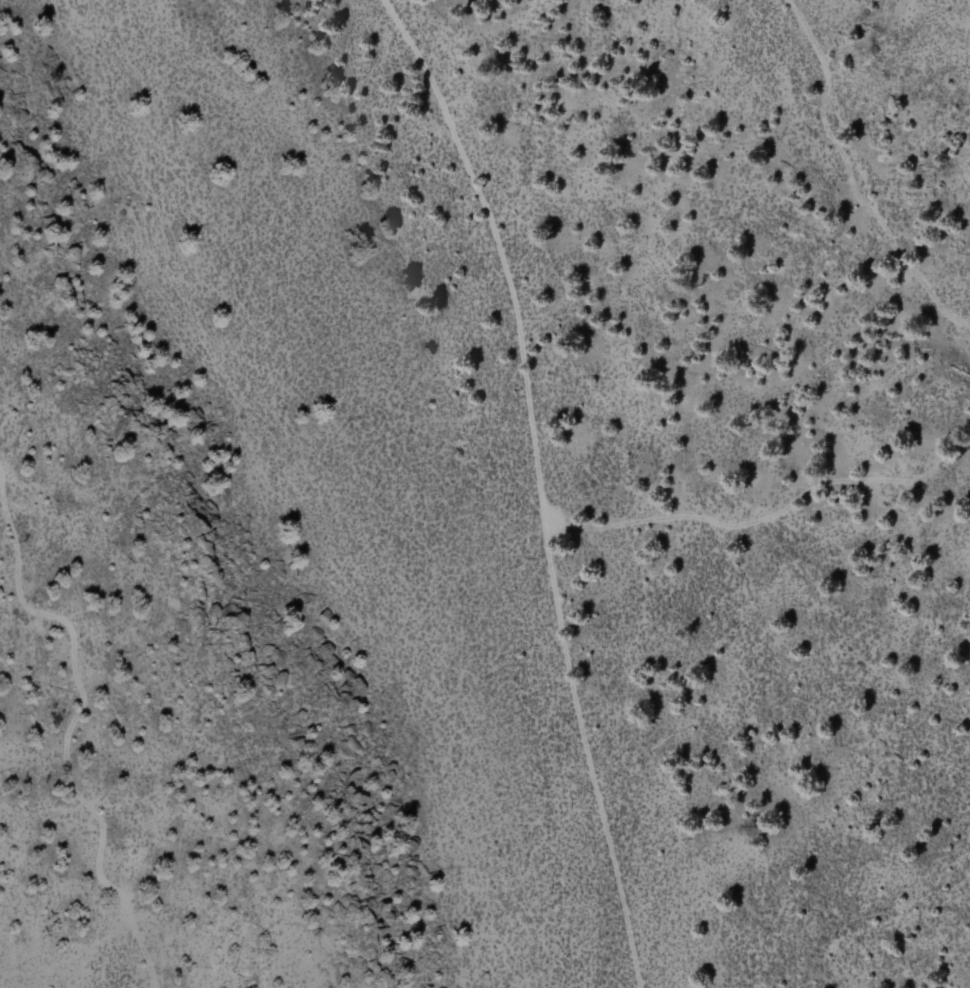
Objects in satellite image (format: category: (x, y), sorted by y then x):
road: (852, 183)
road: (547, 484)

